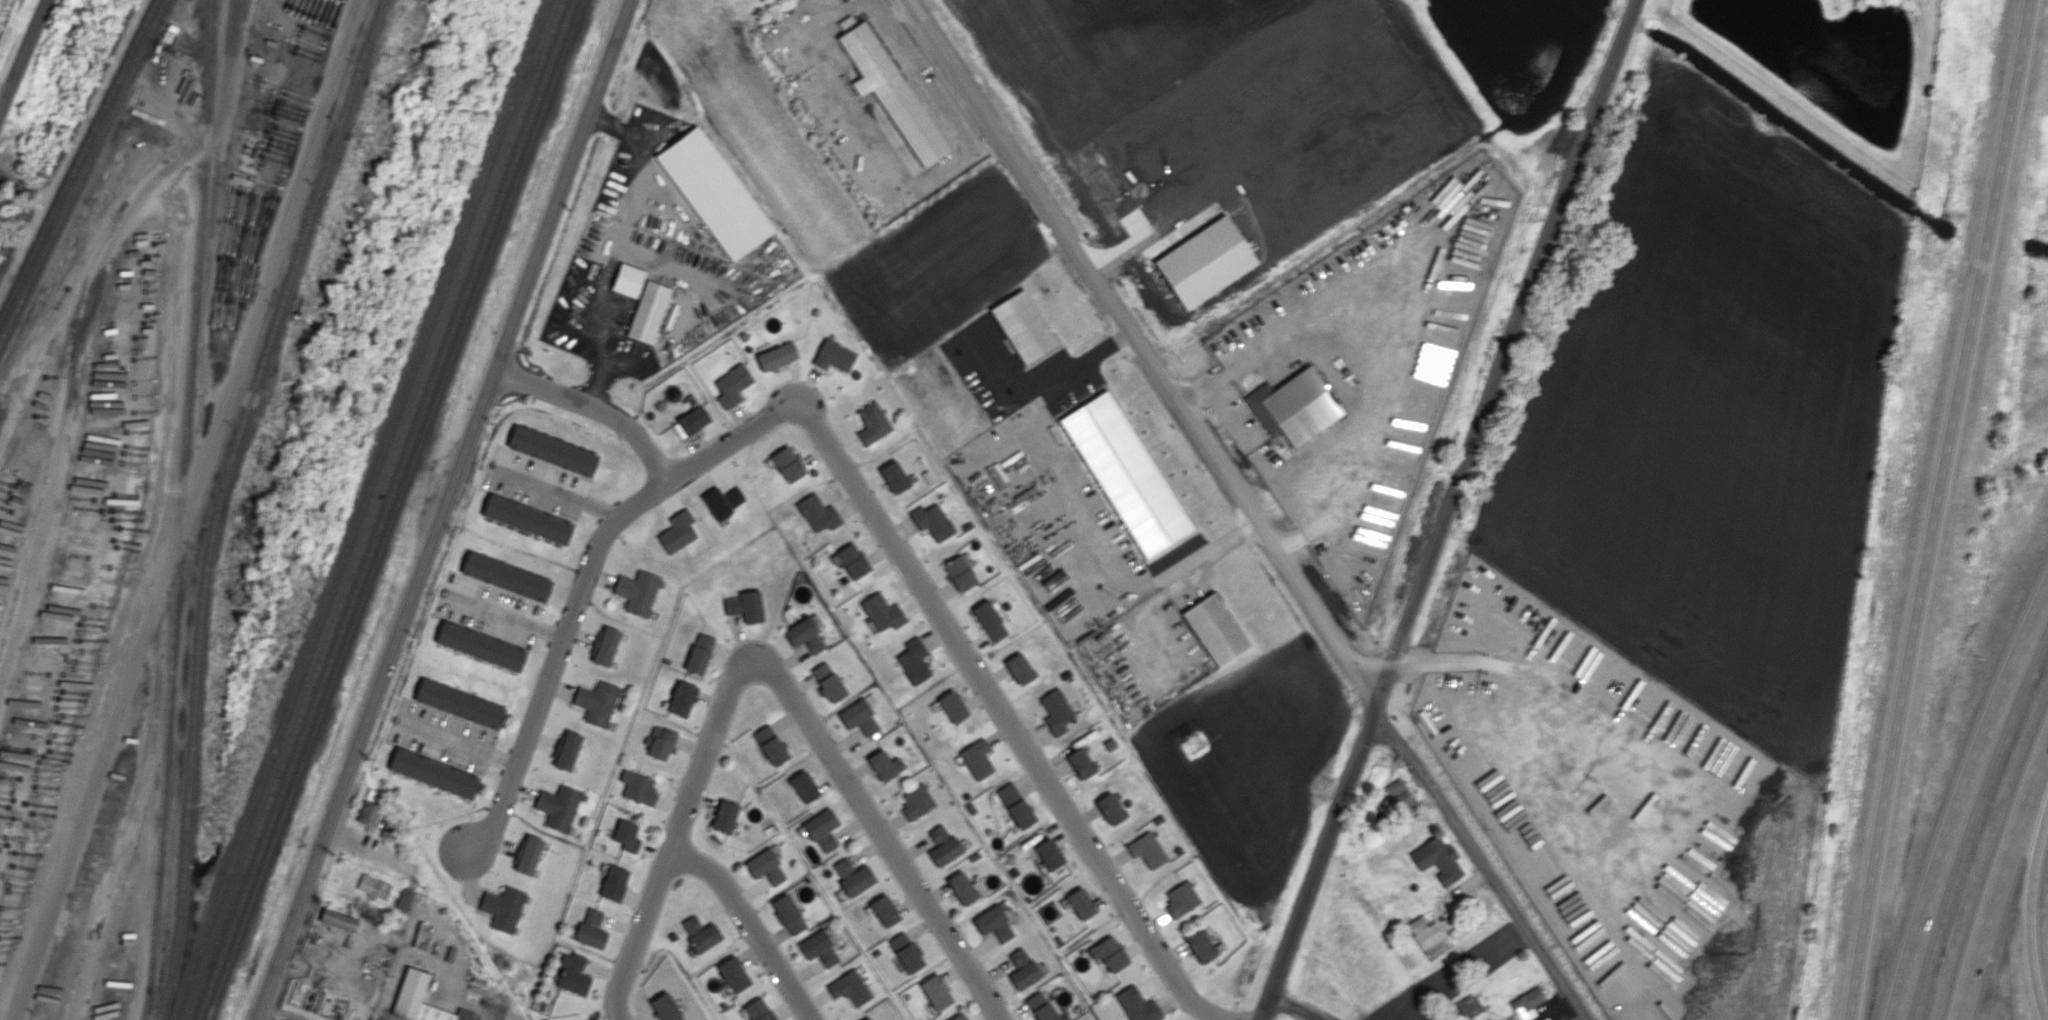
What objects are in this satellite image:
railway: (212, 27)
road: (24, 57)
building: (892, 92)
crop: (1226, 122)
railway: (78, 160)
railway: (84, 172)
building: (713, 193)
building: (627, 280)
road: (1412, 308)
road: (82, 311)
building: (646, 311)
building: (1023, 326)
road: (1137, 350)
building: (833, 355)
building: (776, 356)
building: (732, 385)
road: (595, 406)
building: (1293, 406)
crop: (1714, 416)
building: (693, 420)
building: (872, 422)
building: (553, 451)
building: (787, 464)
building: (1125, 474)
building: (894, 477)
road: (561, 495)
railway: (219, 499)
building: (722, 501)
railway: (375, 509)
railway: (394, 509)
railway: (181, 510)
railway: (361, 510)
railway: (386, 510)
road: (444, 510)
road: (1445, 510)
road: (1940, 510)
building: (818, 513)
road: (1073, 517)
building: (527, 519)
building: (932, 521)
building: (677, 532)
building: (852, 561)
building: (959, 573)
building: (507, 577)
road: (580, 589)
building: (637, 592)
building: (745, 606)
building: (882, 612)
road: (506, 616)
building: (989, 620)
building: (1215, 629)
building: (805, 635)
building: (604, 645)
building: (481, 646)
building: (699, 653)
building: (914, 661)
building: (1019, 668)
building: (828, 682)
building: (681, 699)
building: (597, 702)
building: (459, 703)
building: (952, 706)
building: (1056, 711)
road: (1004, 716)
building: (859, 717)
building: (660, 742)
road: (464, 745)
building: (770, 745)
power tower: (1193, 745)
building: (566, 750)
building: (976, 759)
building: (1081, 762)
building: (882, 765)
building: (433, 773)
road: (91, 785)
building: (804, 786)
building: (638, 787)
building: (1397, 796)
road: (1957, 800)
building: (916, 801)
building: (1015, 805)
building: (558, 807)
building: (1110, 808)
building: (369, 814)
building: (724, 817)
building: (822, 829)
road: (878, 829)
building: (390, 830)
road: (676, 835)
building: (626, 836)
building: (942, 845)
road: (366, 848)
building: (1147, 849)
building: (1049, 853)
building: (527, 854)
building: (1438, 859)
road: (1482, 865)
building: (766, 866)
building: (843, 867)
road: (2001, 878)
building: (857, 881)
building: (613, 883)
building: (373, 886)
building: (962, 888)
building: (1181, 898)
building: (404, 899)
building: (1080, 903)
building: (502, 907)
building: (884, 910)
road: (2027, 910)
building: (788, 914)
building: (338, 919)
building: (994, 923)
building: (691, 924)
road: (750, 925)
building: (591, 929)
building: (1426, 935)
building: (705, 938)
building: (1201, 945)
building: (819, 948)
building: (906, 952)
building: (1109, 953)
road: (342, 958)
crop: (1371, 966)
building: (1023, 969)
building: (572, 973)
building: (733, 974)
road: (389, 982)
road: (446, 984)
building: (412, 987)
building: (850, 987)
building: (936, 992)
building: (1528, 1004)
building: (1137, 1005)
building: (1469, 1006)
building: (666, 1007)
building: (1041, 1007)
road: (1293, 1008)
building: (758, 1010)
road: (494, 1016)
building: (959, 1017)
building: (870, 1018)
building: (288, 1019)

